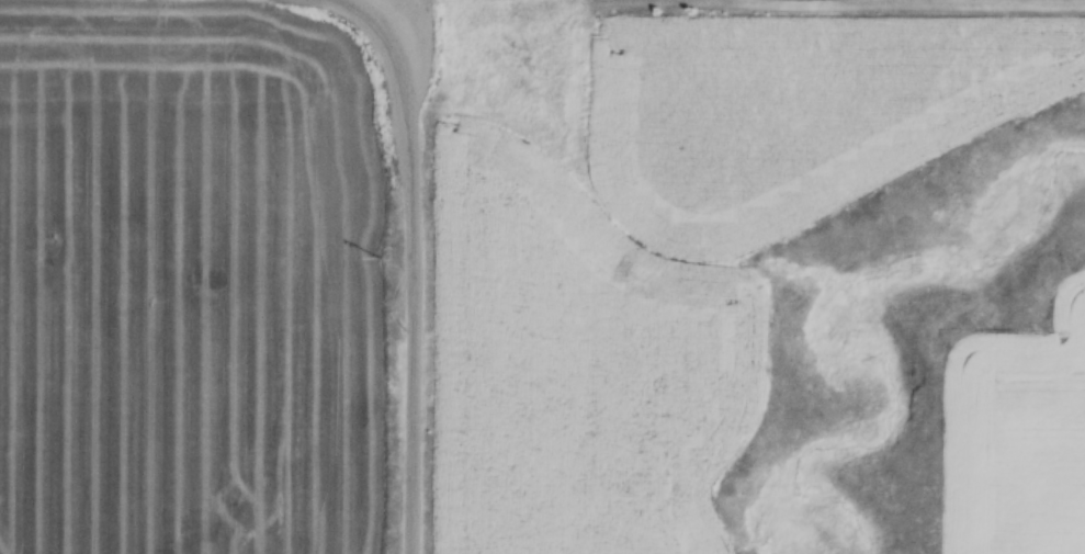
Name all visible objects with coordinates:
road: (405, 274)

